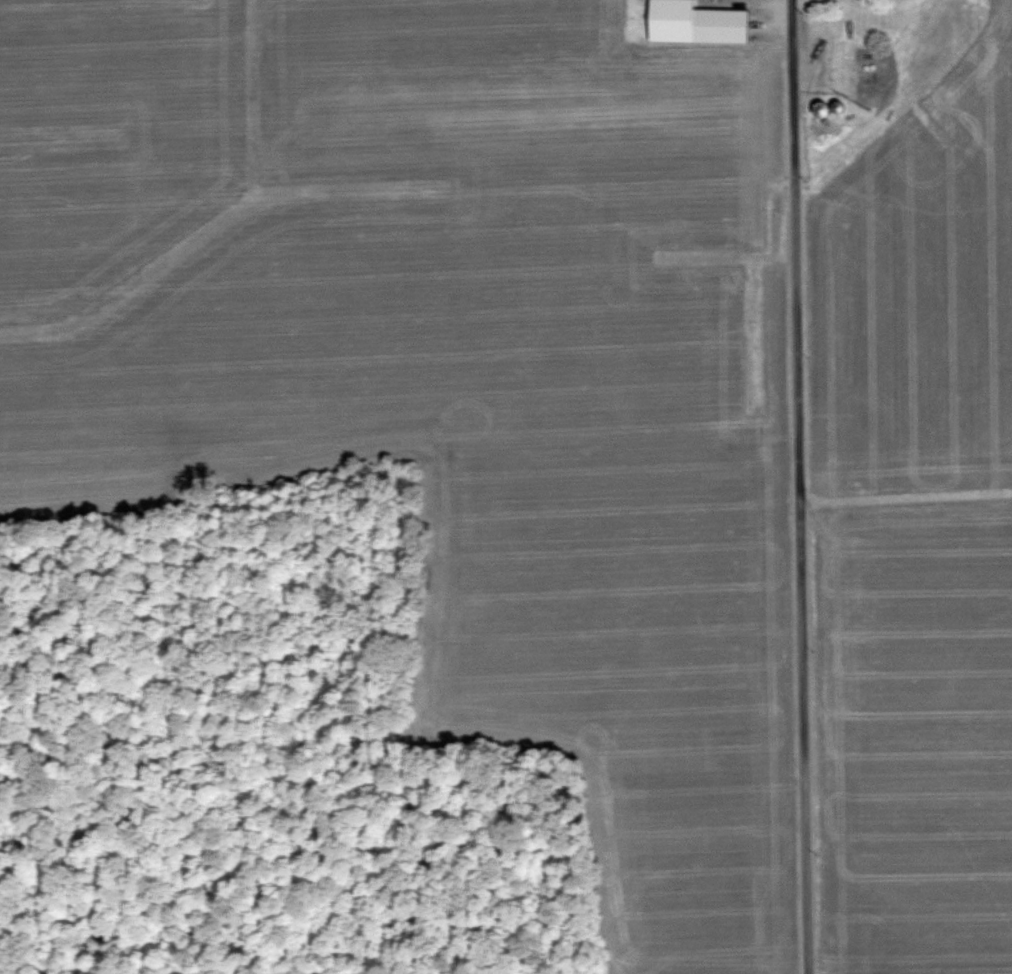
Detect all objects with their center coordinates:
building: (720, 26)
building: (866, 66)
road: (841, 134)
road: (798, 487)

